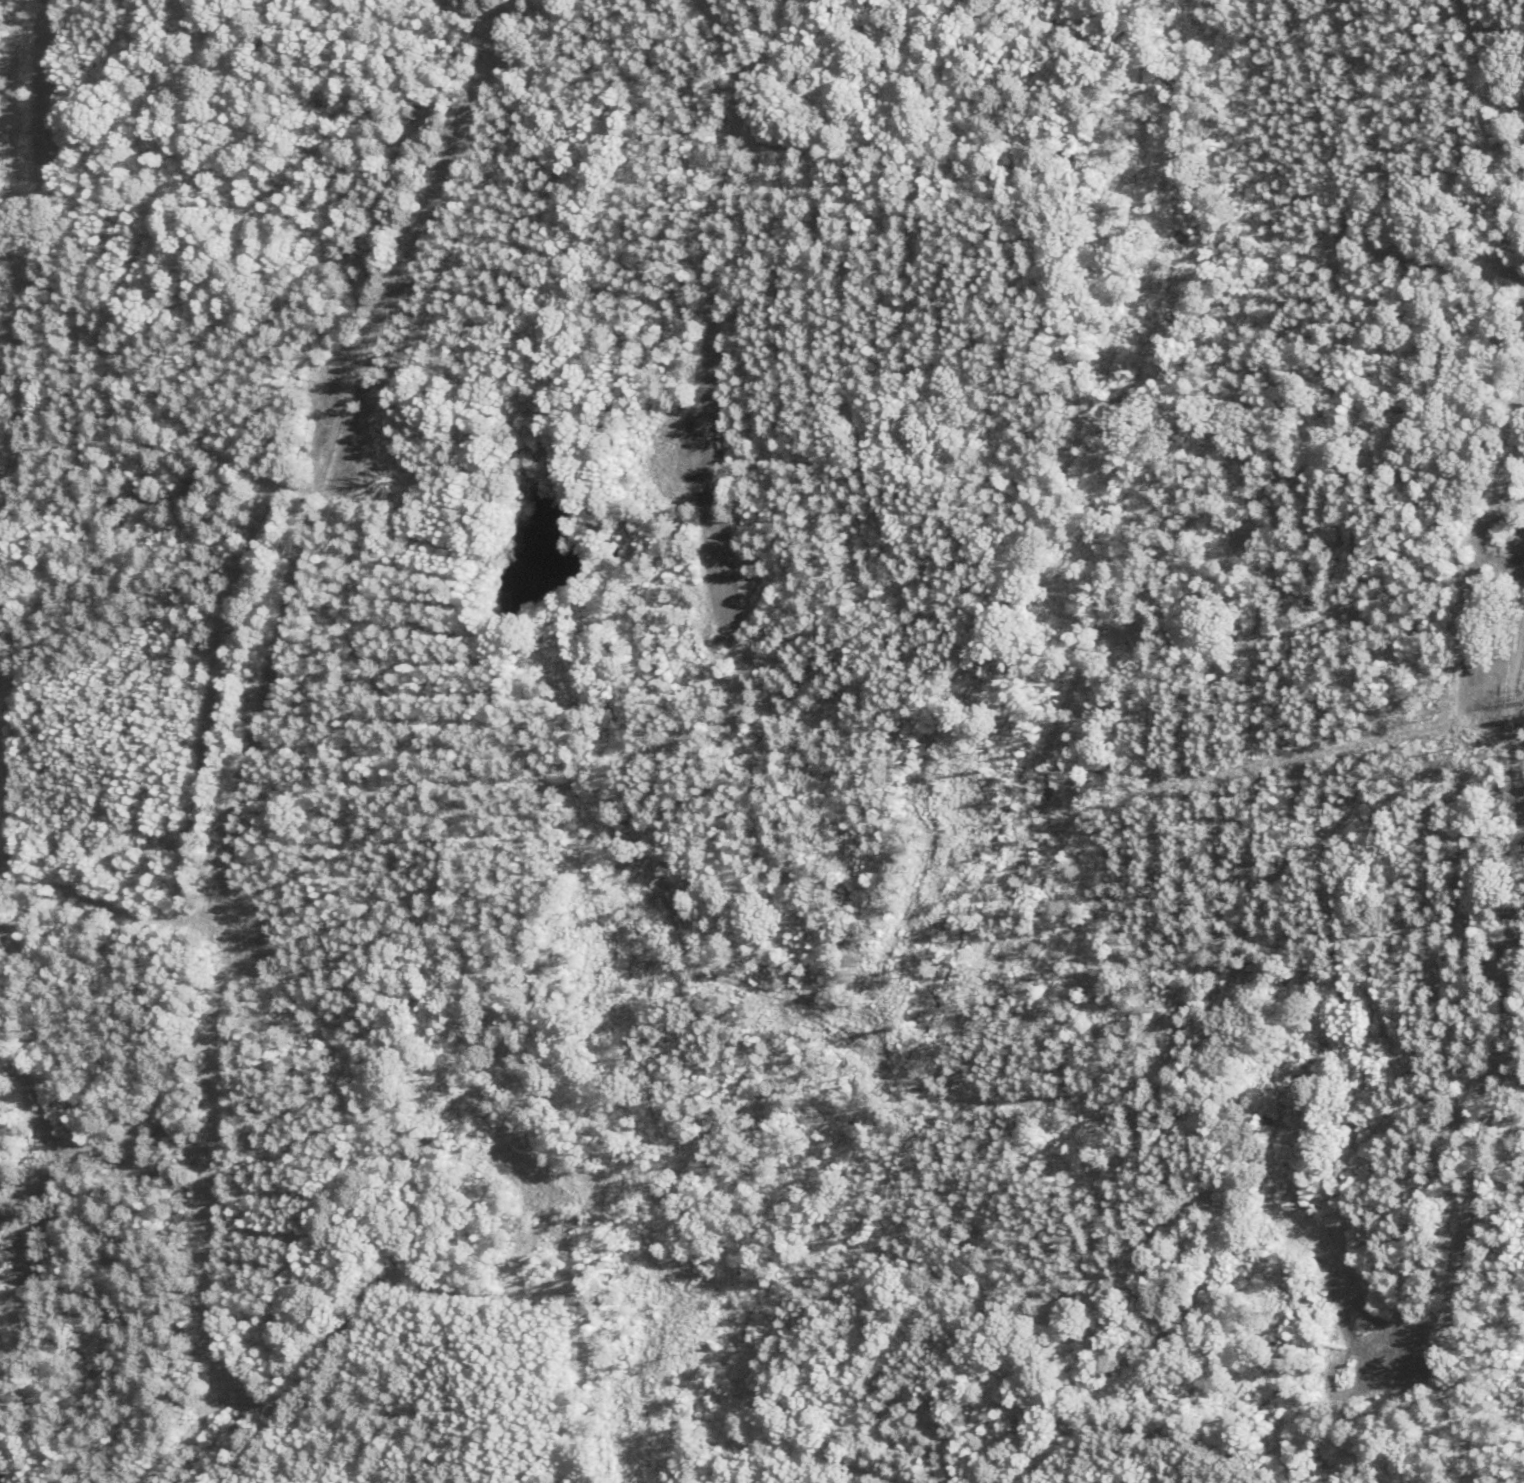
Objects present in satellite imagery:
road: (1512, 47)
road: (1497, 555)
road: (1493, 987)

